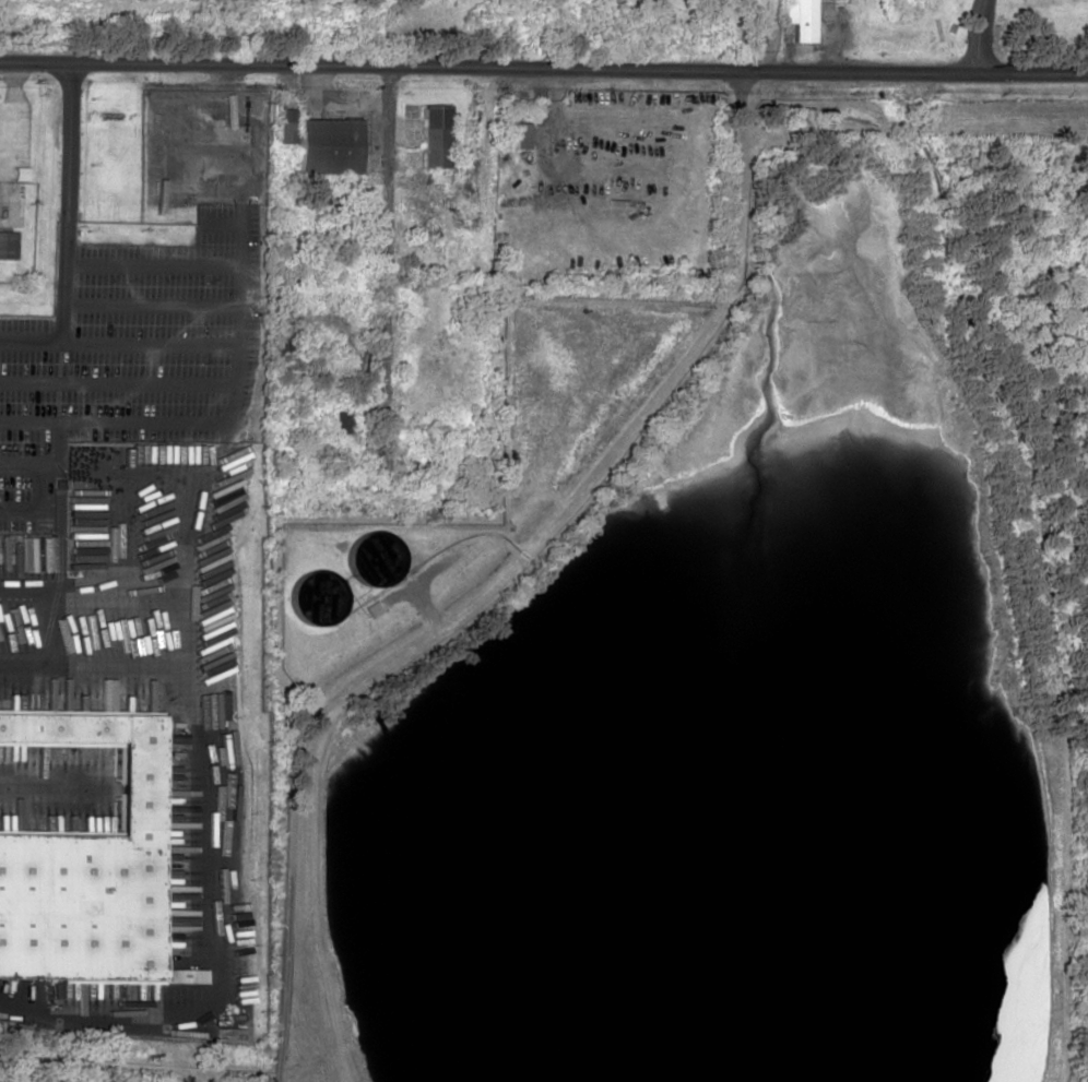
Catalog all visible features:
building: (799, 19)
road: (975, 36)
road: (543, 70)
building: (284, 127)
building: (510, 135)
building: (433, 136)
building: (326, 146)
building: (8, 245)
road: (387, 276)
building: (279, 337)
road: (32, 343)
road: (138, 343)
building: (340, 423)
road: (38, 486)
road: (497, 582)
building: (91, 866)

